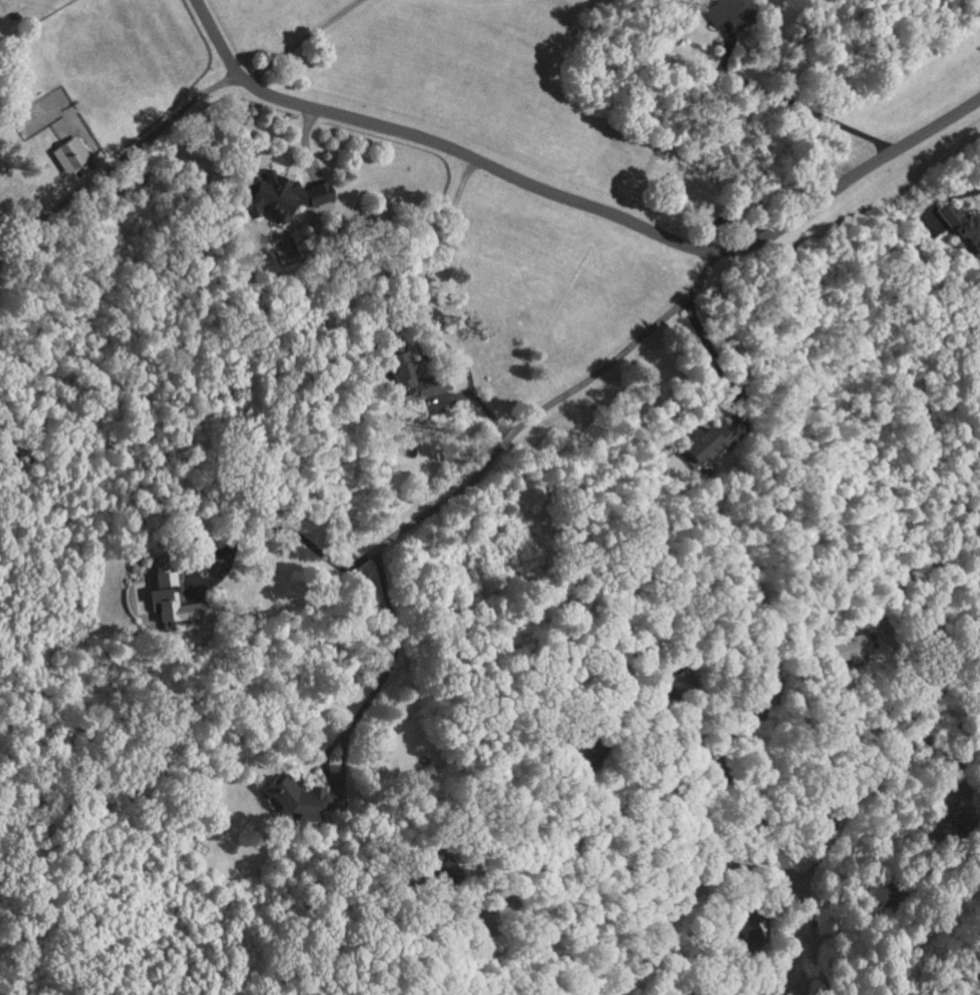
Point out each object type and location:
building: (733, 14)
road: (297, 40)
road: (792, 101)
building: (72, 155)
road: (118, 165)
road: (963, 190)
building: (286, 196)
road: (579, 203)
building: (963, 223)
road: (420, 310)
building: (406, 365)
road: (715, 367)
road: (545, 410)
building: (710, 442)
road: (240, 539)
building: (177, 600)
road: (392, 649)
building: (853, 649)
road: (910, 738)
road: (727, 739)
road: (861, 778)
road: (659, 779)
road: (776, 785)
building: (300, 800)
building: (958, 826)
building: (450, 871)
road: (699, 885)
road: (452, 914)
building: (747, 933)
road: (447, 946)
road: (832, 950)
road: (978, 993)

